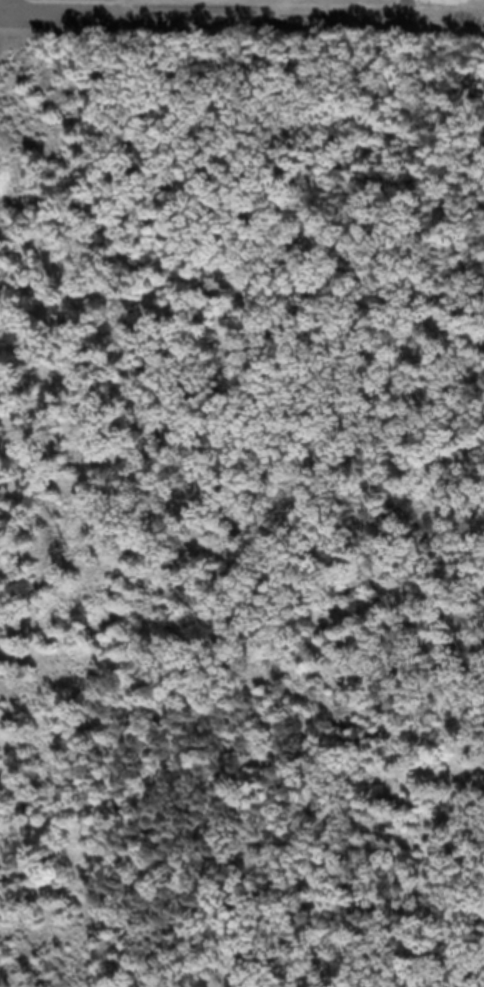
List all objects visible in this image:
road: (6, 12)
road: (242, 22)

